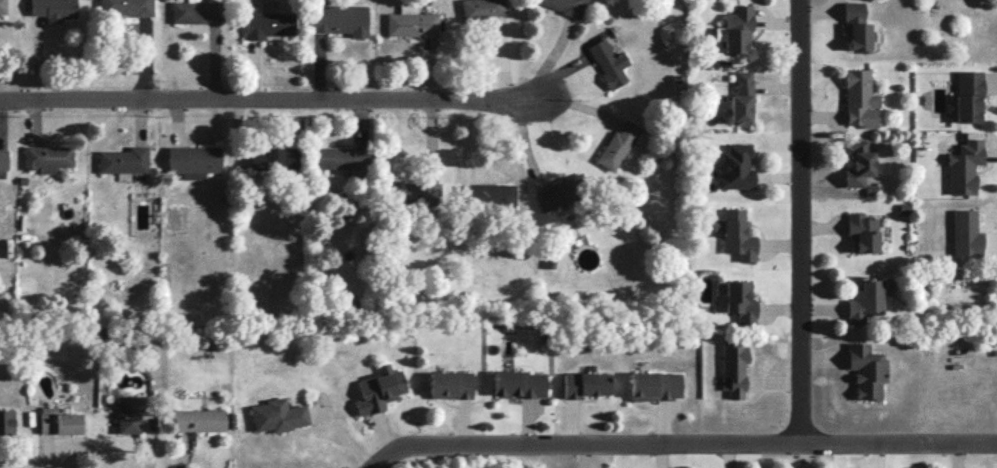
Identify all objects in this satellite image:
building: (563, 5)
building: (2, 6)
building: (125, 7)
building: (481, 8)
building: (53, 9)
building: (196, 11)
building: (852, 11)
building: (339, 19)
building: (410, 21)
building: (269, 24)
building: (737, 29)
building: (858, 36)
building: (608, 62)
building: (968, 95)
building: (860, 98)
building: (741, 99)
road: (272, 102)
building: (618, 144)
building: (47, 157)
building: (273, 157)
building: (343, 158)
building: (123, 160)
building: (193, 160)
building: (858, 164)
building: (963, 166)
building: (734, 167)
building: (413, 192)
building: (559, 192)
building: (487, 195)
road: (799, 219)
building: (862, 232)
building: (965, 233)
building: (736, 234)
building: (740, 300)
building: (864, 300)
building: (734, 367)
building: (866, 370)
building: (519, 383)
building: (585, 383)
building: (450, 384)
building: (655, 385)
building: (379, 389)
building: (131, 412)
building: (278, 415)
building: (199, 420)
building: (7, 421)
building: (59, 421)
road: (339, 430)
road: (683, 440)

